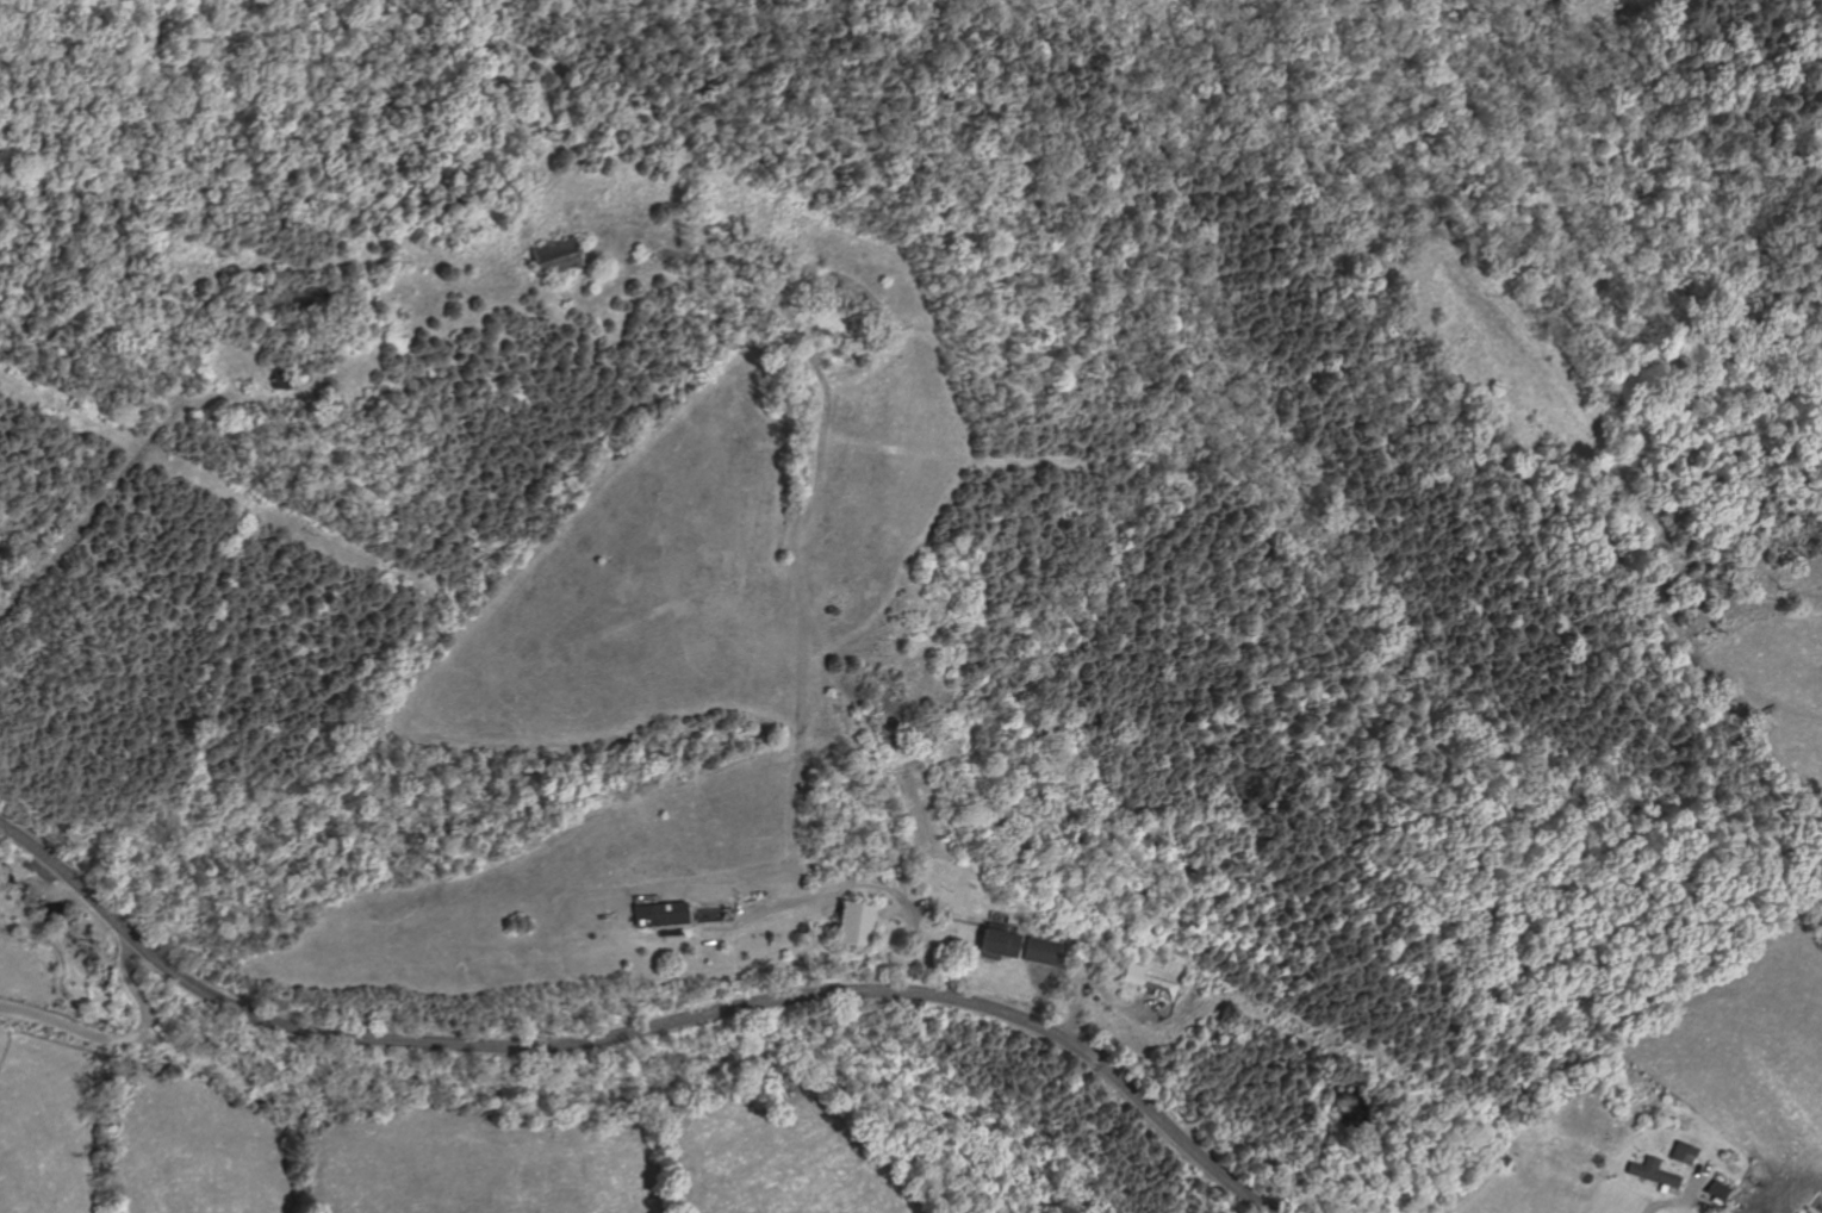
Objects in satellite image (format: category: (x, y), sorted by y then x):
building: (552, 255)
building: (630, 256)
building: (280, 378)
road: (104, 498)
building: (827, 610)
road: (848, 883)
road: (926, 908)
building: (657, 913)
building: (848, 922)
building: (993, 941)
building: (1037, 951)
building: (1254, 953)
building: (1072, 962)
building: (1082, 962)
building: (1143, 981)
road: (1094, 985)
road: (639, 1030)
road: (122, 1039)
building: (1675, 1153)
building: (1494, 1157)
building: (1647, 1172)
building: (1710, 1190)
road: (1677, 1201)

